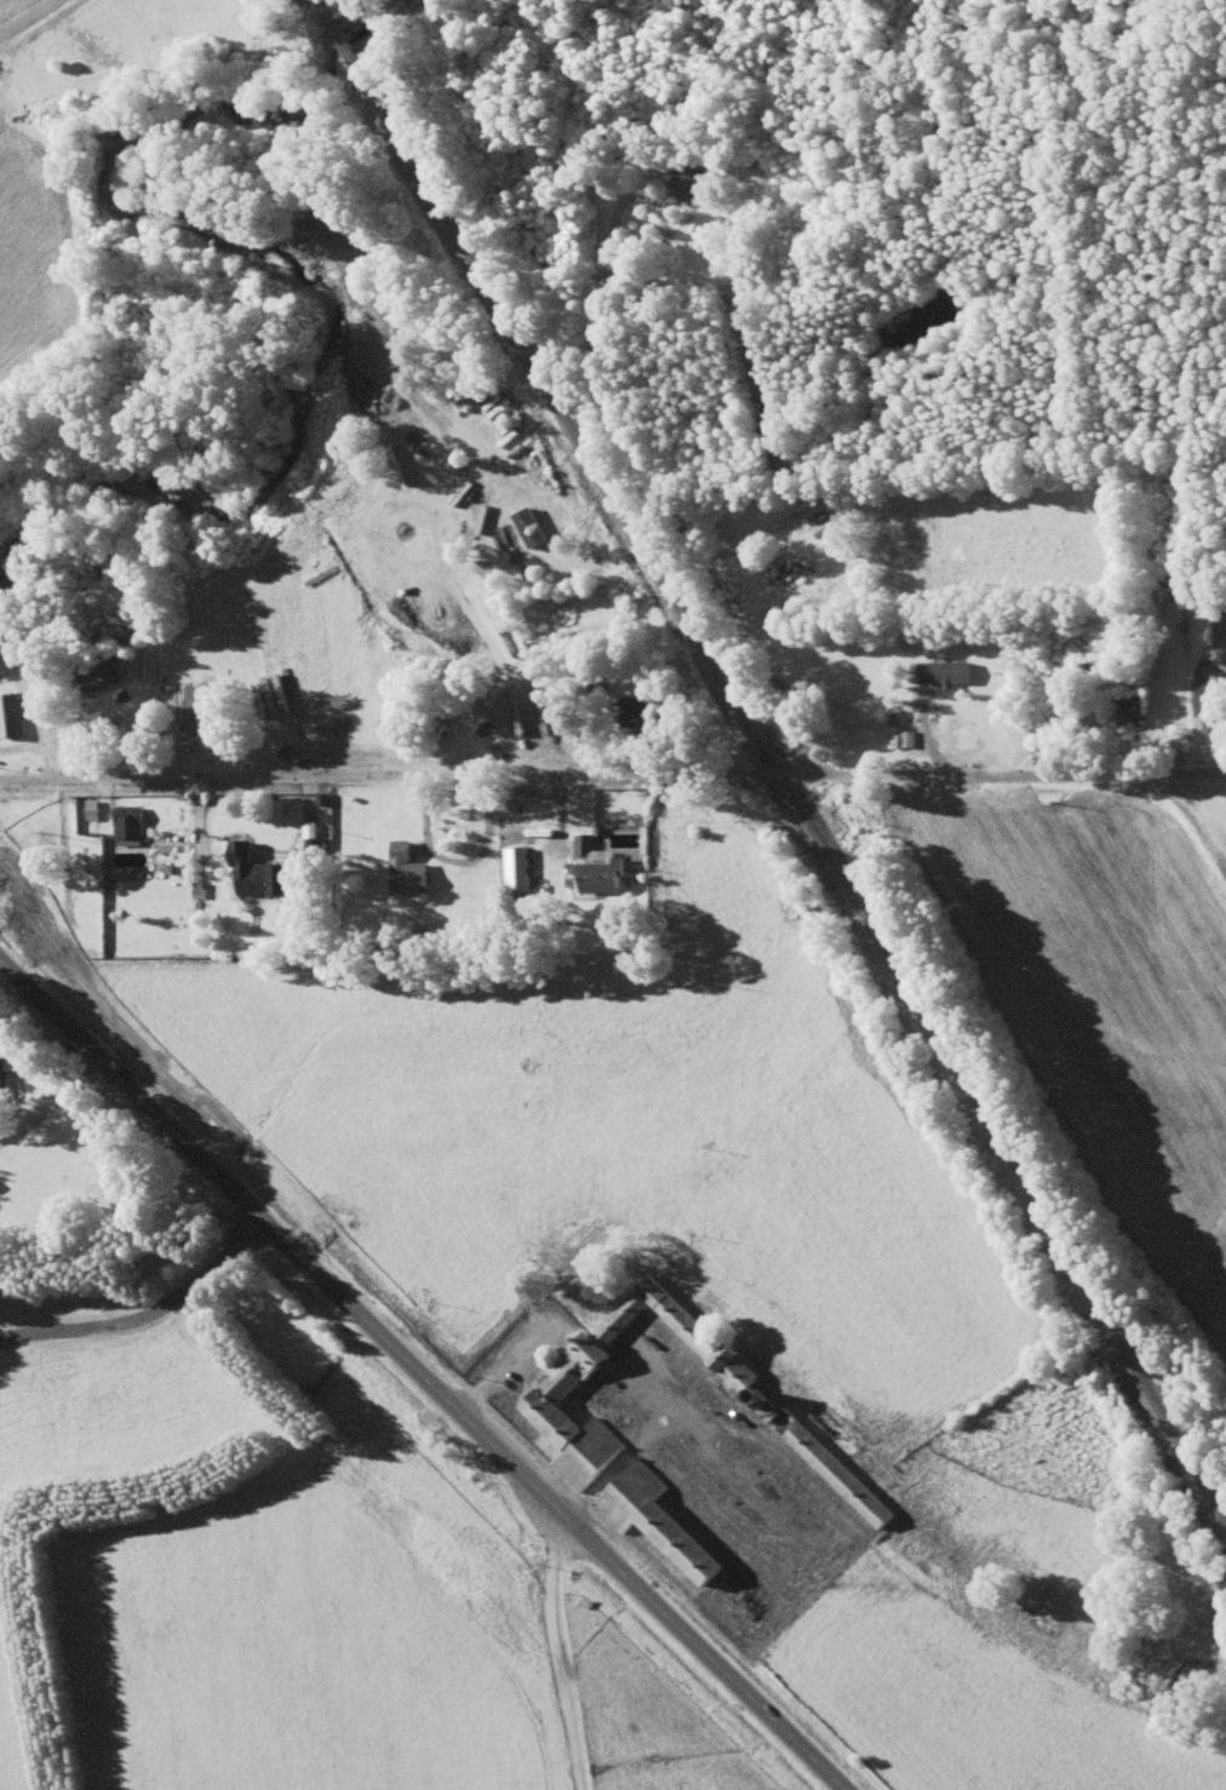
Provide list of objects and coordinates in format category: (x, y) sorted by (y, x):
building: (693, 180)
road: (664, 495)
building: (785, 575)
building: (1215, 630)
building: (93, 672)
building: (945, 673)
building: (634, 712)
building: (1129, 713)
building: (12, 716)
building: (1215, 736)
railway: (772, 765)
road: (389, 776)
road: (1001, 776)
building: (99, 810)
building: (128, 824)
building: (598, 868)
building: (519, 871)
building: (408, 872)
building: (258, 873)
building: (2, 1072)
road: (53, 1103)
road: (143, 1319)
road: (397, 1383)
building: (586, 1439)
building: (832, 1469)
building: (745, 1608)
road: (528, 1651)

